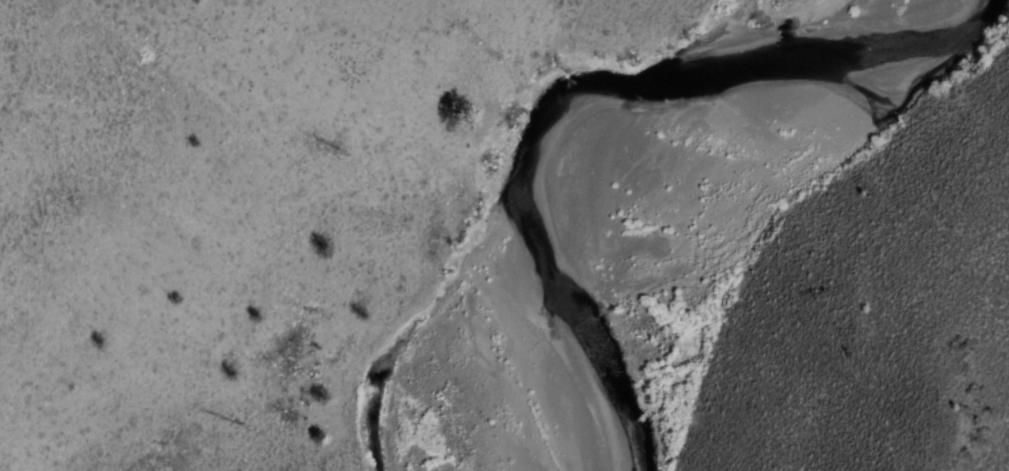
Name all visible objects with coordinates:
river: (600, 104)

